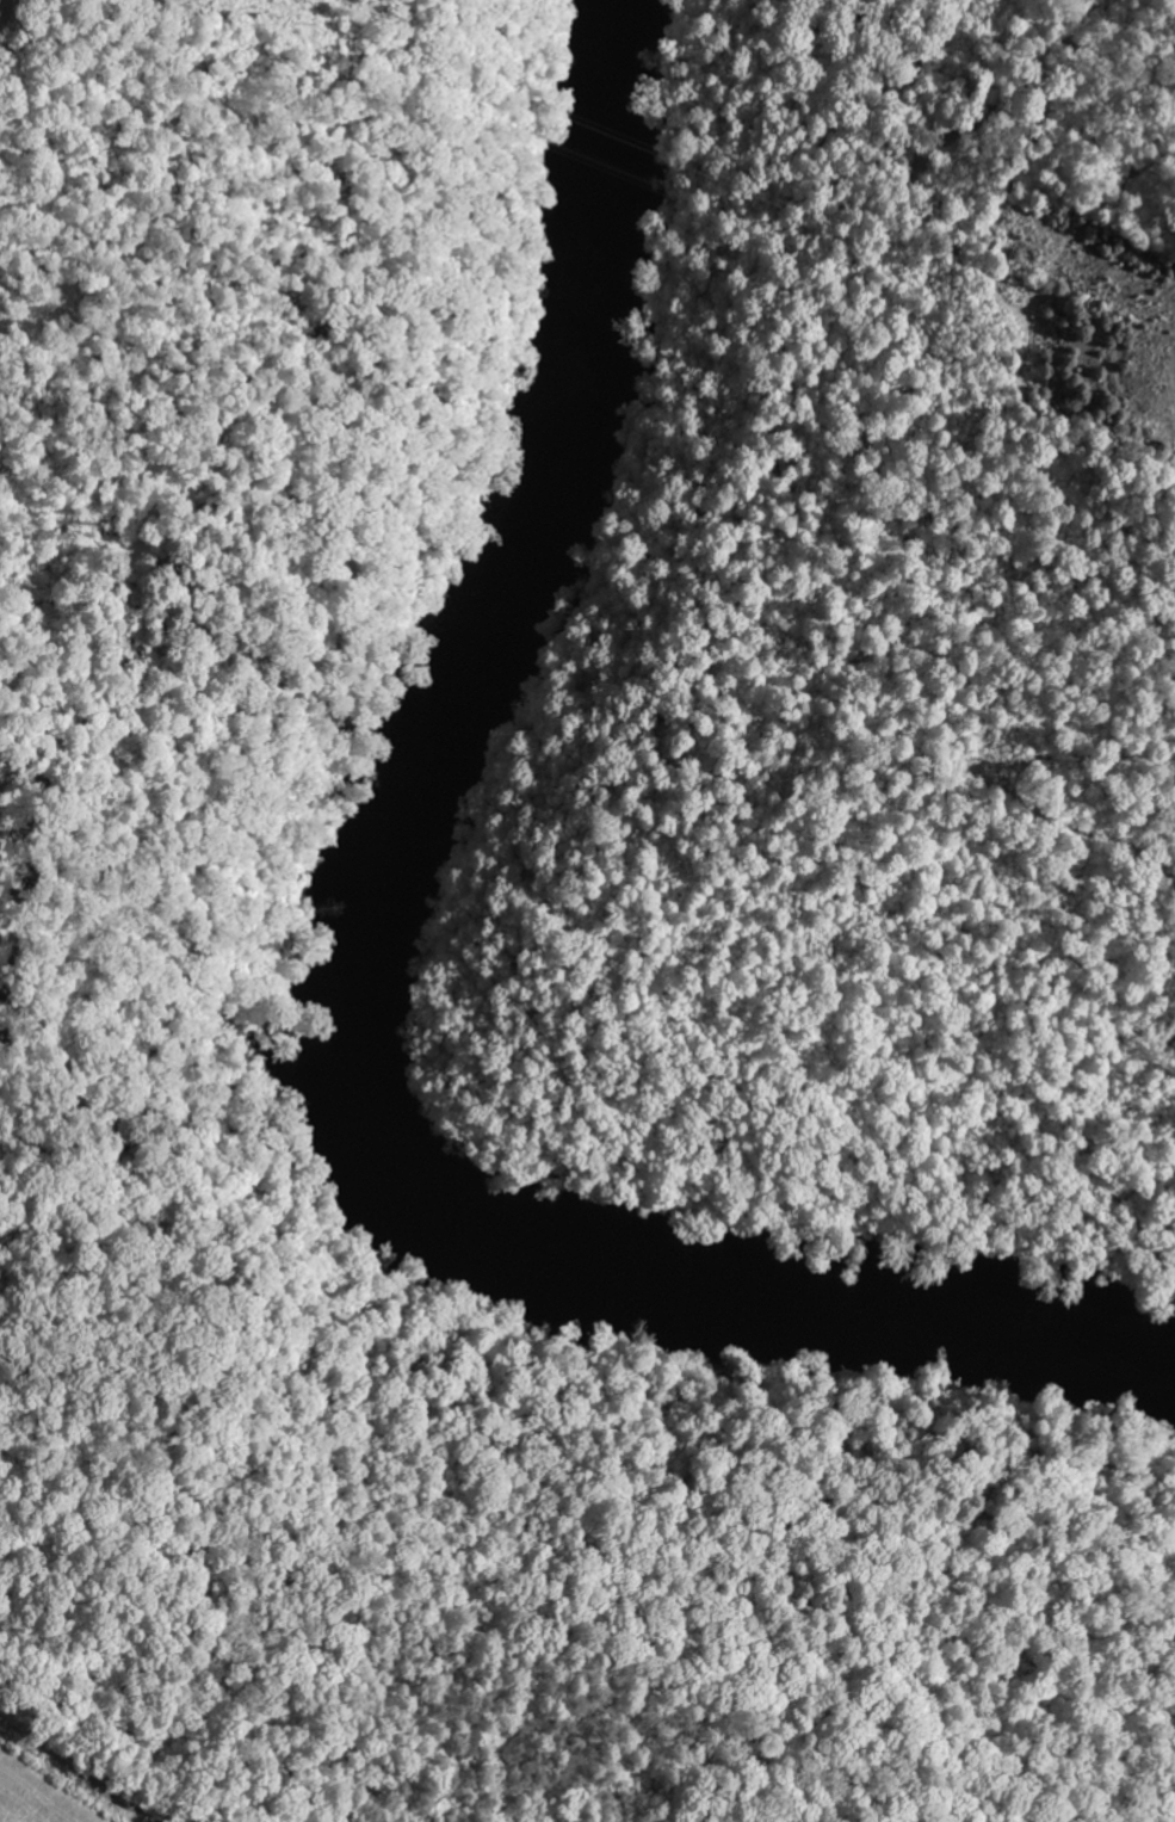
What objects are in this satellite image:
river: (361, 961)
road: (112, 1771)

